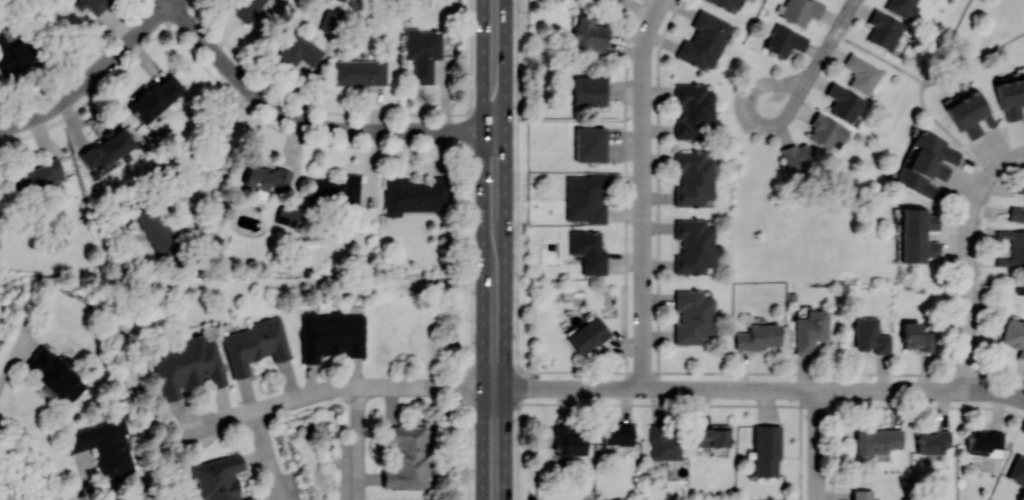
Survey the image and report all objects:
road: (169, 1)
building: (613, 1)
building: (728, 4)
building: (94, 6)
building: (902, 7)
building: (245, 8)
building: (799, 10)
road: (847, 13)
building: (329, 20)
building: (884, 29)
road: (650, 31)
road: (494, 32)
road: (836, 33)
building: (589, 34)
building: (704, 40)
building: (784, 40)
building: (299, 50)
building: (423, 52)
building: (15, 54)
road: (971, 56)
road: (821, 59)
building: (359, 71)
building: (862, 73)
road: (89, 74)
building: (1023, 81)
building: (589, 90)
road: (494, 91)
road: (644, 91)
road: (921, 93)
road: (792, 95)
building: (154, 97)
building: (1010, 97)
building: (843, 102)
building: (693, 111)
building: (969, 113)
road: (571, 119)
road: (305, 122)
building: (827, 131)
building: (590, 143)
building: (106, 149)
road: (220, 150)
building: (797, 160)
building: (927, 164)
road: (494, 170)
road: (644, 171)
building: (39, 174)
building: (266, 178)
building: (693, 178)
building: (336, 189)
building: (414, 194)
building: (585, 197)
building: (1016, 213)
building: (287, 215)
building: (1023, 218)
building: (157, 231)
building: (917, 234)
building: (693, 245)
building: (1012, 247)
road: (470, 250)
road: (517, 250)
building: (588, 250)
road: (494, 251)
building: (1023, 257)
road: (968, 261)
road: (644, 306)
building: (693, 317)
building: (811, 329)
building: (332, 334)
building: (587, 334)
building: (1014, 334)
building: (871, 335)
building: (758, 336)
building: (916, 336)
building: (255, 344)
building: (188, 366)
building: (55, 375)
road: (343, 387)
road: (719, 388)
road: (493, 389)
road: (951, 391)
road: (969, 391)
road: (1003, 393)
building: (617, 434)
building: (712, 436)
building: (569, 439)
building: (877, 441)
building: (933, 441)
road: (359, 443)
building: (664, 443)
road: (818, 445)
building: (105, 446)
building: (766, 450)
road: (267, 456)
building: (407, 456)
building: (1017, 468)
road: (25, 469)
building: (219, 478)
building: (1022, 479)
building: (862, 494)

